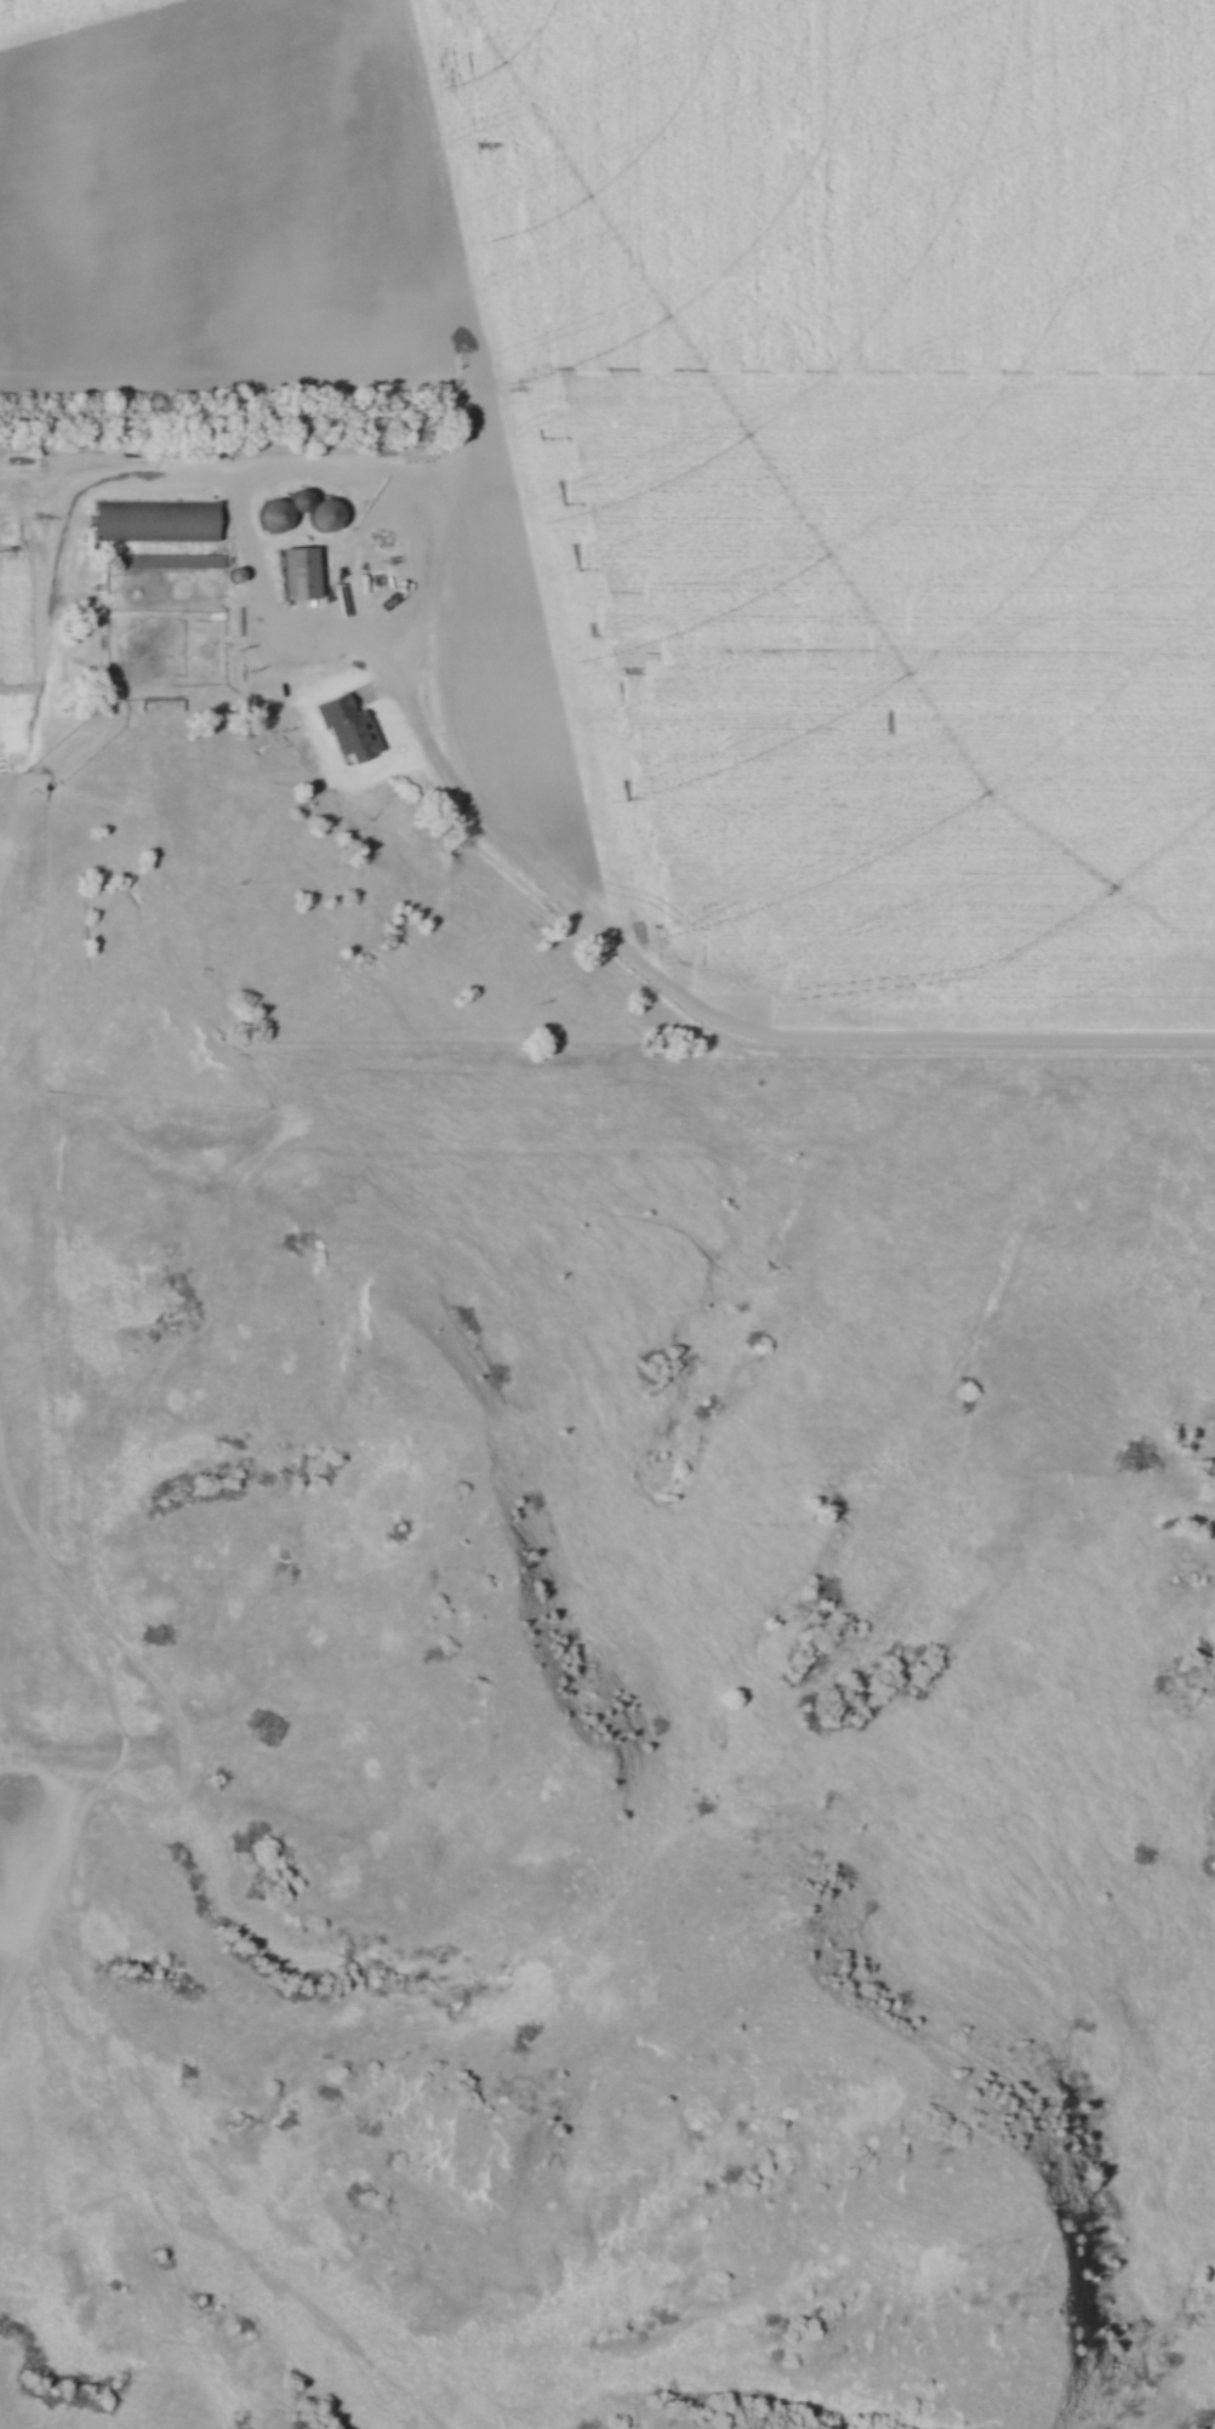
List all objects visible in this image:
road: (462, 412)
crop: (731, 433)
silo: (302, 498)
building: (316, 511)
silo: (274, 514)
silo: (327, 514)
building: (276, 515)
building: (154, 519)
building: (165, 559)
silo: (230, 574)
building: (303, 574)
road: (284, 633)
building: (159, 709)
building: (340, 726)
road: (994, 1042)

